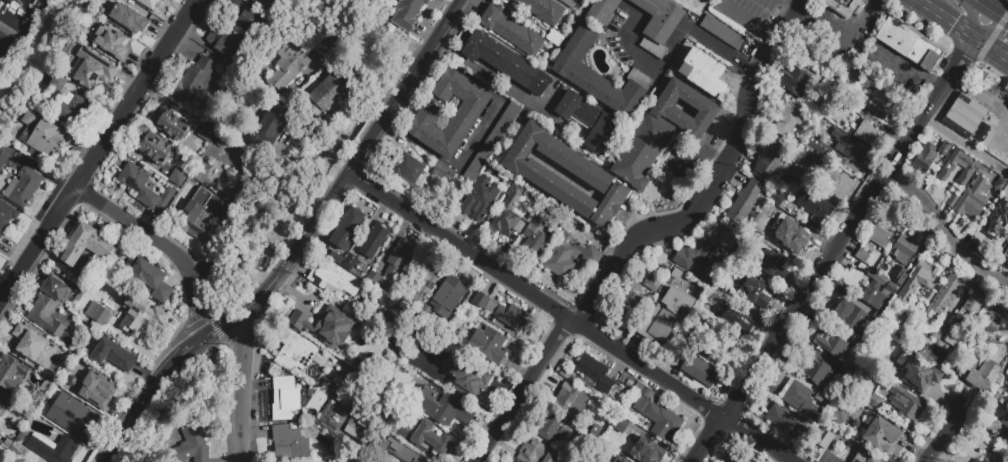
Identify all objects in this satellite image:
building: (507, 0)
building: (437, 2)
building: (259, 3)
building: (569, 3)
road: (922, 3)
road: (927, 3)
building: (149, 4)
road: (790, 4)
road: (995, 4)
building: (413, 5)
building: (841, 7)
road: (993, 9)
building: (543, 10)
building: (602, 10)
building: (691, 16)
road: (971, 18)
road: (950, 21)
building: (134, 22)
building: (249, 22)
road: (448, 22)
building: (657, 23)
road: (749, 23)
road: (988, 25)
building: (303, 28)
building: (512, 31)
road: (996, 31)
building: (722, 32)
road: (844, 36)
building: (555, 38)
building: (329, 39)
building: (114, 44)
building: (226, 44)
building: (908, 45)
road: (990, 47)
road: (674, 53)
building: (855, 56)
building: (505, 63)
building: (290, 67)
building: (91, 69)
building: (243, 69)
road: (912, 69)
road: (476, 70)
building: (704, 74)
road: (946, 75)
building: (599, 76)
building: (980, 79)
road: (408, 81)
building: (795, 81)
building: (55, 82)
building: (196, 83)
building: (830, 91)
road: (982, 96)
building: (325, 99)
building: (879, 106)
building: (72, 109)
building: (469, 113)
building: (964, 115)
building: (32, 117)
building: (790, 120)
building: (591, 122)
building: (173, 127)
building: (820, 127)
building: (272, 130)
building: (662, 131)
building: (866, 133)
building: (207, 135)
building: (48, 139)
building: (493, 145)
building: (818, 145)
road: (965, 145)
building: (850, 147)
building: (945, 148)
road: (698, 149)
building: (155, 150)
road: (99, 155)
building: (5, 156)
building: (924, 158)
road: (594, 159)
building: (769, 163)
building: (805, 163)
building: (971, 166)
building: (408, 171)
building: (444, 174)
building: (536, 175)
building: (179, 179)
road: (714, 183)
building: (999, 185)
building: (143, 188)
building: (24, 189)
building: (955, 189)
building: (776, 198)
building: (972, 199)
building: (480, 202)
building: (744, 202)
building: (951, 202)
building: (814, 205)
building: (786, 207)
road: (290, 209)
building: (509, 212)
building: (6, 218)
building: (998, 218)
building: (198, 221)
road: (309, 226)
road: (949, 226)
building: (348, 233)
building: (881, 234)
building: (790, 235)
building: (535, 237)
building: (375, 243)
road: (164, 245)
building: (83, 248)
building: (1007, 248)
building: (904, 249)
building: (862, 255)
building: (570, 257)
building: (701, 257)
building: (400, 259)
building: (769, 263)
building: (350, 265)
road: (824, 268)
building: (676, 274)
building: (878, 277)
building: (920, 277)
building: (900, 278)
building: (148, 280)
building: (336, 281)
building: (653, 282)
building: (376, 283)
building: (424, 289)
building: (754, 290)
building: (945, 294)
building: (448, 296)
building: (877, 296)
building: (927, 296)
building: (629, 302)
building: (51, 305)
building: (972, 305)
building: (502, 312)
building: (96, 314)
building: (664, 315)
building: (140, 316)
building: (854, 317)
road: (568, 318)
building: (737, 320)
building: (384, 322)
building: (878, 322)
building: (990, 323)
building: (327, 327)
road: (217, 328)
building: (953, 339)
building: (829, 343)
building: (488, 345)
building: (861, 346)
building: (922, 346)
building: (35, 349)
building: (718, 350)
building: (295, 353)
building: (112, 357)
building: (356, 363)
building: (697, 369)
building: (473, 370)
building: (815, 370)
building: (1007, 370)
building: (435, 371)
building: (594, 374)
building: (844, 374)
building: (980, 375)
building: (11, 376)
building: (899, 377)
building: (930, 377)
building: (466, 378)
building: (552, 384)
building: (91, 387)
road: (243, 387)
road: (521, 390)
road: (149, 391)
building: (333, 392)
building: (0, 393)
building: (795, 394)
building: (0, 396)
building: (824, 400)
building: (286, 401)
building: (570, 401)
building: (875, 401)
building: (908, 404)
building: (0, 408)
building: (442, 409)
building: (656, 414)
building: (71, 415)
building: (778, 415)
building: (840, 416)
building: (0, 418)
building: (413, 422)
building: (620, 425)
building: (551, 427)
building: (1004, 428)
building: (880, 434)
building: (802, 435)
road: (940, 436)
road: (706, 439)
building: (432, 440)
building: (826, 441)
building: (192, 446)
building: (291, 446)
building: (53, 450)
building: (398, 451)
building: (646, 451)
building: (536, 452)
building: (864, 456)
building: (735, 458)
building: (594, 459)
building: (619, 460)
building: (975, 460)
building: (984, 461)
building: (996, 461)

